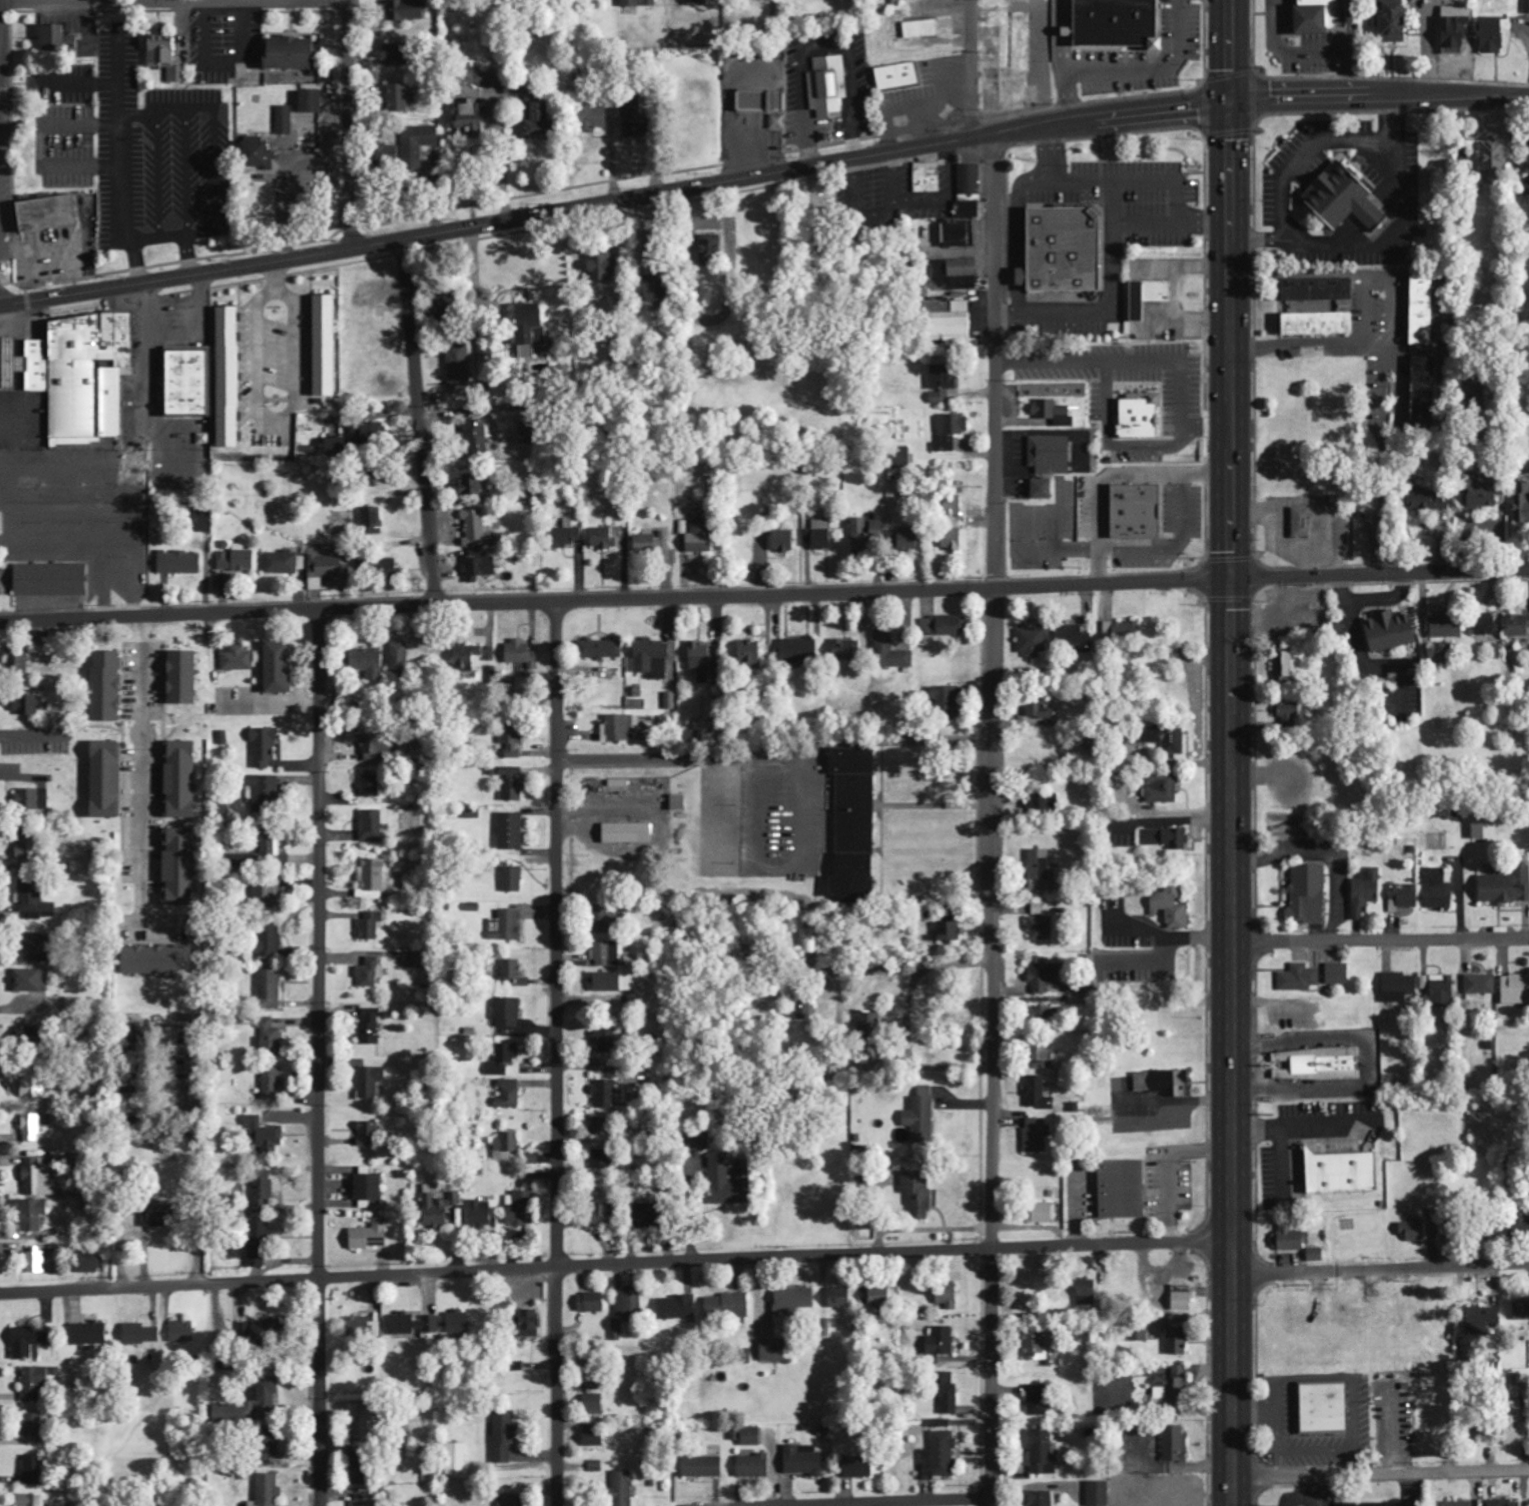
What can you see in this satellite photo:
road: (174, 3)
building: (641, 3)
building: (698, 3)
building: (1525, 6)
building: (408, 11)
building: (1326, 17)
building: (1385, 20)
building: (1120, 24)
building: (1450, 26)
building: (922, 30)
building: (1486, 35)
building: (58, 41)
road: (1229, 52)
building: (294, 55)
road: (1, 56)
building: (400, 56)
building: (167, 59)
road: (0, 67)
road: (969, 69)
building: (898, 76)
building: (489, 78)
building: (515, 87)
building: (828, 87)
building: (402, 98)
building: (763, 100)
building: (315, 101)
traffic signals: (1229, 104)
building: (596, 116)
building: (475, 119)
building: (544, 119)
building: (285, 120)
building: (778, 122)
road: (346, 125)
building: (642, 126)
building: (418, 142)
building: (261, 154)
building: (1489, 158)
building: (1525, 158)
road: (761, 176)
building: (928, 177)
building: (1335, 199)
building: (966, 210)
building: (53, 213)
road: (1337, 242)
building: (711, 249)
building: (1067, 249)
building: (605, 265)
building: (955, 274)
building: (663, 287)
building: (1309, 289)
road: (0, 296)
building: (1148, 297)
building: (726, 301)
building: (450, 310)
building: (1416, 310)
building: (1310, 323)
building: (958, 325)
building: (534, 328)
building: (329, 345)
building: (33, 361)
building: (460, 369)
building: (232, 377)
building: (192, 382)
building: (944, 383)
building: (1416, 392)
building: (1054, 413)
road: (1447, 414)
building: (1141, 418)
road: (419, 425)
building: (951, 432)
building: (533, 434)
building: (359, 439)
building: (480, 439)
building: (1052, 455)
building: (475, 484)
building: (1043, 489)
building: (1473, 492)
building: (1414, 498)
building: (1521, 503)
building: (1139, 511)
building: (204, 521)
building: (374, 522)
building: (1297, 522)
building: (479, 531)
building: (572, 535)
building: (702, 536)
building: (819, 536)
building: (882, 537)
building: (606, 538)
building: (952, 540)
building: (784, 541)
building: (652, 543)
building: (237, 559)
building: (181, 563)
building: (282, 563)
building: (480, 566)
building: (330, 567)
building: (391, 567)
building: (54, 580)
traffic signals: (1230, 583)
road: (764, 599)
building: (946, 625)
building: (1480, 625)
building: (1515, 626)
building: (1440, 627)
building: (1123, 631)
building: (1384, 631)
building: (1075, 637)
building: (1034, 642)
building: (603, 649)
building: (799, 650)
building: (847, 650)
building: (890, 651)
building: (752, 652)
building: (522, 654)
building: (470, 656)
building: (702, 656)
building: (399, 657)
building: (238, 658)
building: (652, 658)
building: (14, 661)
building: (369, 663)
building: (1281, 664)
building: (281, 667)
building: (187, 678)
building: (110, 687)
building: (947, 699)
building: (27, 705)
building: (1042, 711)
building: (622, 728)
building: (705, 728)
building: (514, 737)
building: (1165, 739)
building: (380, 746)
building: (265, 747)
road: (775, 752)
building: (109, 779)
building: (185, 780)
building: (513, 784)
building: (372, 787)
building: (1163, 788)
building: (265, 795)
building: (29, 800)
building: (680, 803)
building: (1039, 803)
road: (1230, 804)
road: (993, 820)
building: (374, 825)
building: (857, 825)
building: (1480, 828)
building: (511, 832)
building: (628, 833)
building: (1168, 838)
building: (27, 849)
building: (183, 867)
building: (1041, 870)
building: (375, 880)
building: (513, 880)
building: (1501, 887)
building: (1434, 889)
building: (1360, 893)
building: (1303, 895)
building: (272, 896)
building: (1400, 896)
building: (36, 901)
building: (1169, 907)
building: (608, 919)
building: (371, 926)
building: (507, 926)
building: (1040, 929)
building: (950, 933)
building: (270, 941)
road: (1380, 941)
building: (37, 948)
building: (607, 954)
building: (162, 961)
building: (512, 973)
building: (1334, 974)
building: (370, 975)
building: (1045, 976)
building: (1297, 978)
building: (31, 981)
building: (613, 982)
building: (1477, 984)
building: (269, 985)
building: (1397, 986)
building: (1437, 987)
building: (1513, 989)
building: (1079, 994)
building: (75, 1005)
building: (805, 1011)
building: (504, 1014)
building: (1045, 1015)
building: (870, 1022)
building: (372, 1027)
building: (29, 1035)
building: (270, 1039)
building: (606, 1042)
building: (1046, 1054)
road: (558, 1055)
road: (318, 1058)
building: (503, 1060)
building: (1319, 1065)
building: (371, 1082)
building: (36, 1083)
building: (1165, 1083)
building: (272, 1084)
building: (1038, 1094)
building: (509, 1095)
building: (605, 1095)
building: (922, 1117)
building: (601, 1127)
building: (32, 1129)
building: (266, 1136)
building: (1037, 1136)
building: (368, 1137)
building: (700, 1141)
building: (506, 1147)
building: (600, 1160)
building: (1346, 1173)
building: (39, 1179)
building: (730, 1181)
building: (373, 1189)
building: (1126, 1190)
building: (263, 1193)
building: (919, 1193)
building: (522, 1210)
building: (443, 1212)
building: (604, 1213)
building: (1046, 1213)
building: (481, 1214)
building: (36, 1215)
building: (162, 1216)
building: (652, 1216)
building: (1516, 1226)
building: (1409, 1231)
building: (372, 1236)
building: (261, 1243)
building: (1296, 1243)
building: (36, 1262)
building: (93, 1263)
road: (615, 1267)
road: (1380, 1269)
building: (1087, 1294)
building: (841, 1298)
building: (882, 1298)
building: (1182, 1298)
building: (948, 1300)
building: (794, 1301)
building: (593, 1303)
building: (629, 1303)
building: (728, 1307)
building: (679, 1308)
building: (1520, 1310)
building: (1478, 1318)
building: (461, 1323)
building: (414, 1325)
building: (536, 1325)
building: (360, 1328)
building: (248, 1329)
building: (269, 1330)
building: (616, 1330)
building: (182, 1332)
building: (90, 1334)
building: (141, 1335)
building: (1177, 1341)
building: (30, 1342)
building: (942, 1342)
building: (1043, 1348)
building: (774, 1351)
building: (36, 1383)
building: (593, 1384)
building: (1172, 1389)
building: (951, 1401)
building: (1038, 1401)
building: (594, 1405)
building: (250, 1406)
building: (1318, 1407)
building: (1509, 1422)
building: (34, 1425)
building: (595, 1436)
building: (752, 1437)
building: (504, 1438)
building: (1171, 1443)
building: (1038, 1452)
building: (941, 1457)
building: (457, 1460)
building: (805, 1461)
building: (753, 1466)
building: (704, 1468)
building: (860, 1468)
building: (34, 1470)
road: (1380, 1473)
building: (624, 1489)
building: (269, 1490)
building: (1094, 1493)
building: (1169, 1495)
building: (1037, 1498)
building: (365, 1500)
building: (34, 1501)
building: (512, 1501)
road: (907, 1502)
building: (1494, 1502)
building: (1454, 1503)

